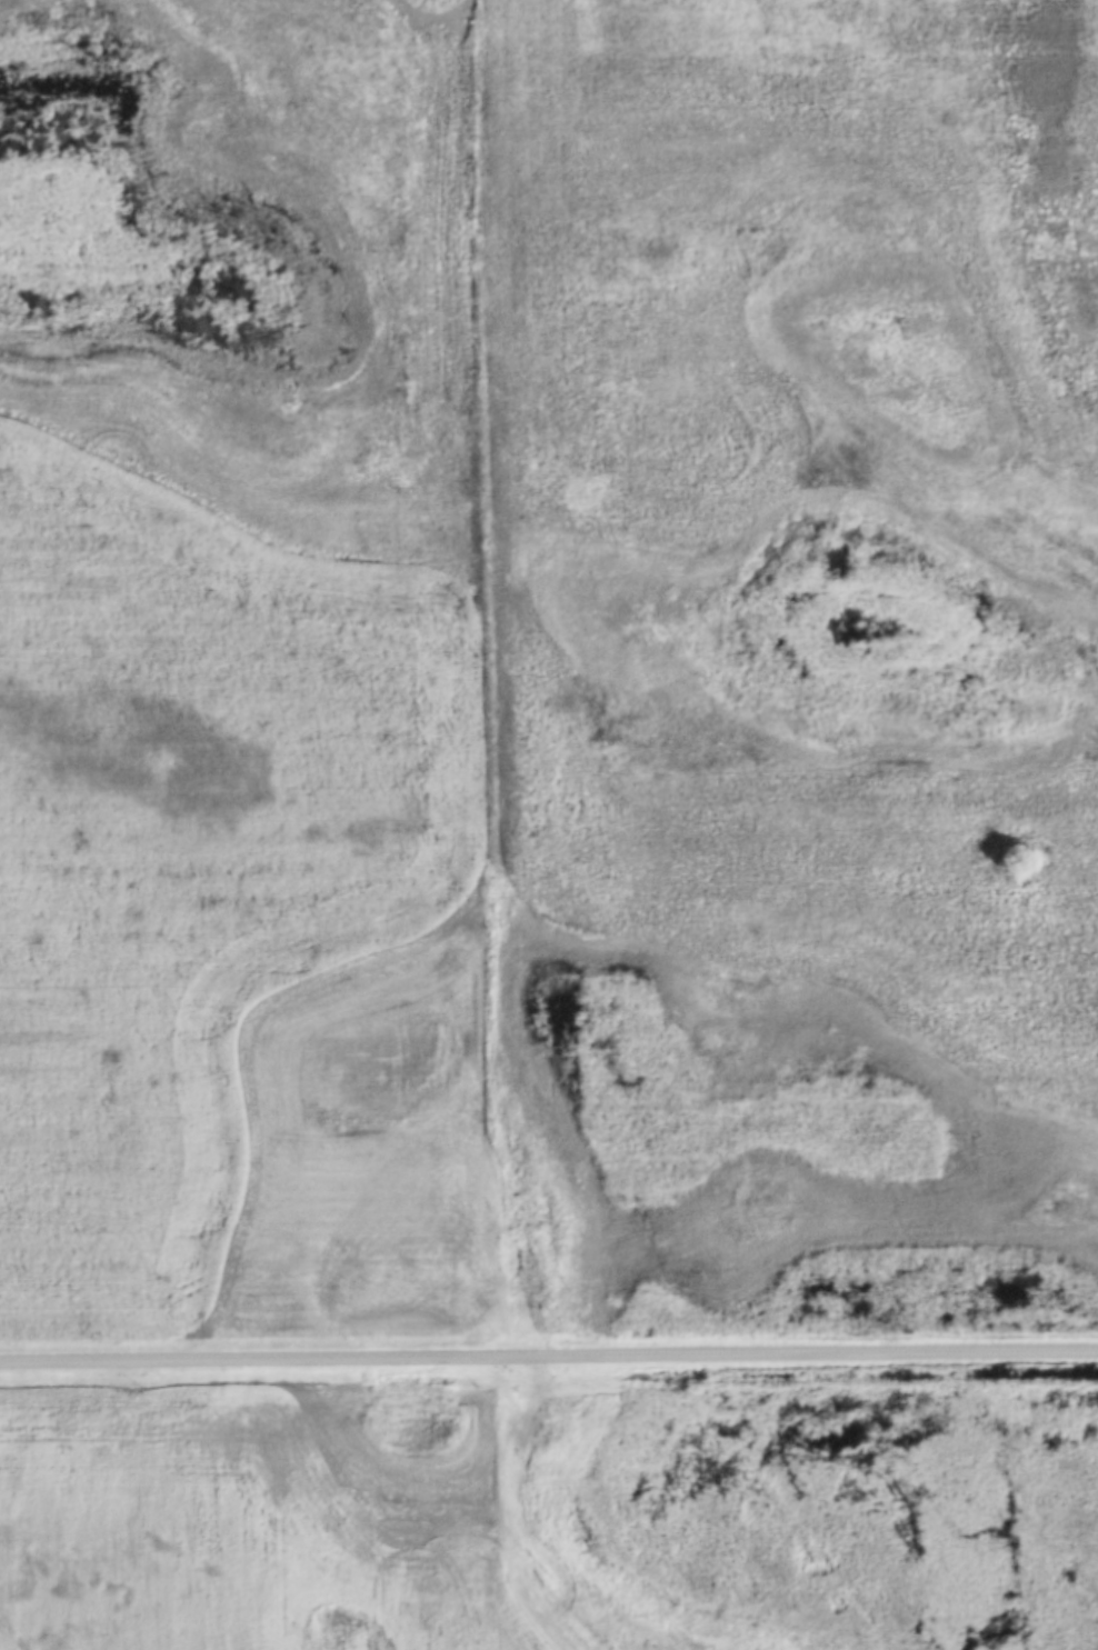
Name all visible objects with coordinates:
road: (549, 1359)

